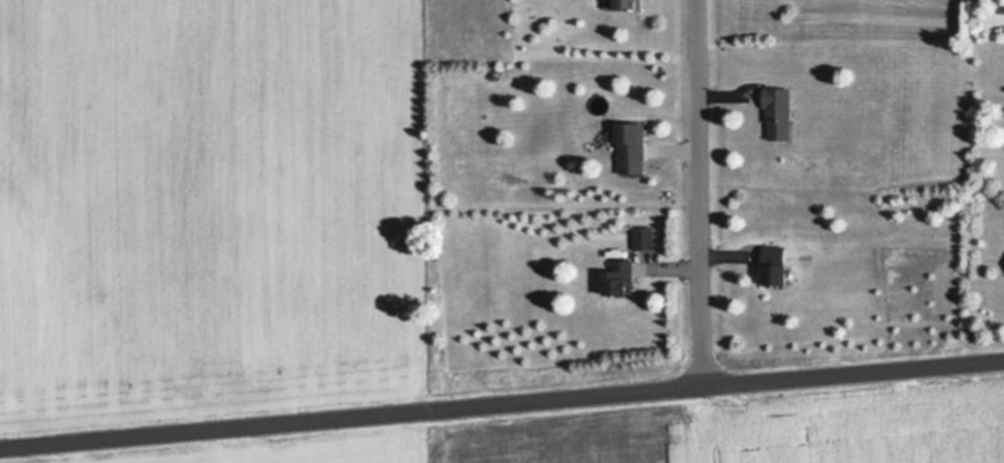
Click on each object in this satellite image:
building: (630, 6)
building: (778, 111)
building: (632, 143)
road: (699, 192)
building: (646, 236)
building: (777, 267)
building: (622, 278)
road: (501, 401)
road: (704, 423)

